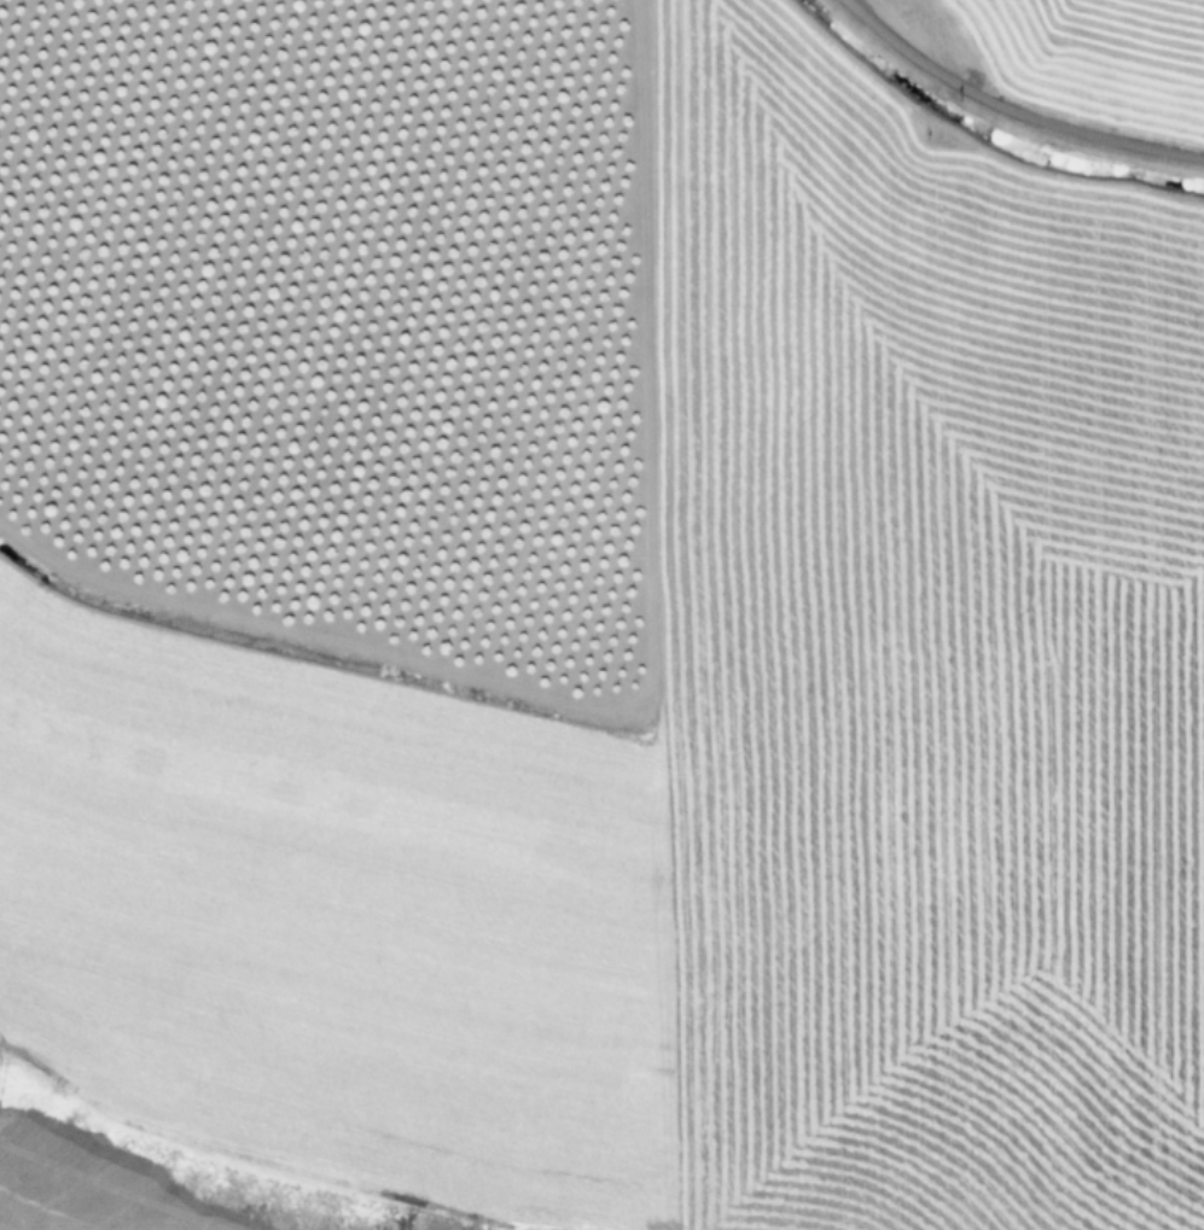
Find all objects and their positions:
crop: (601, 614)

